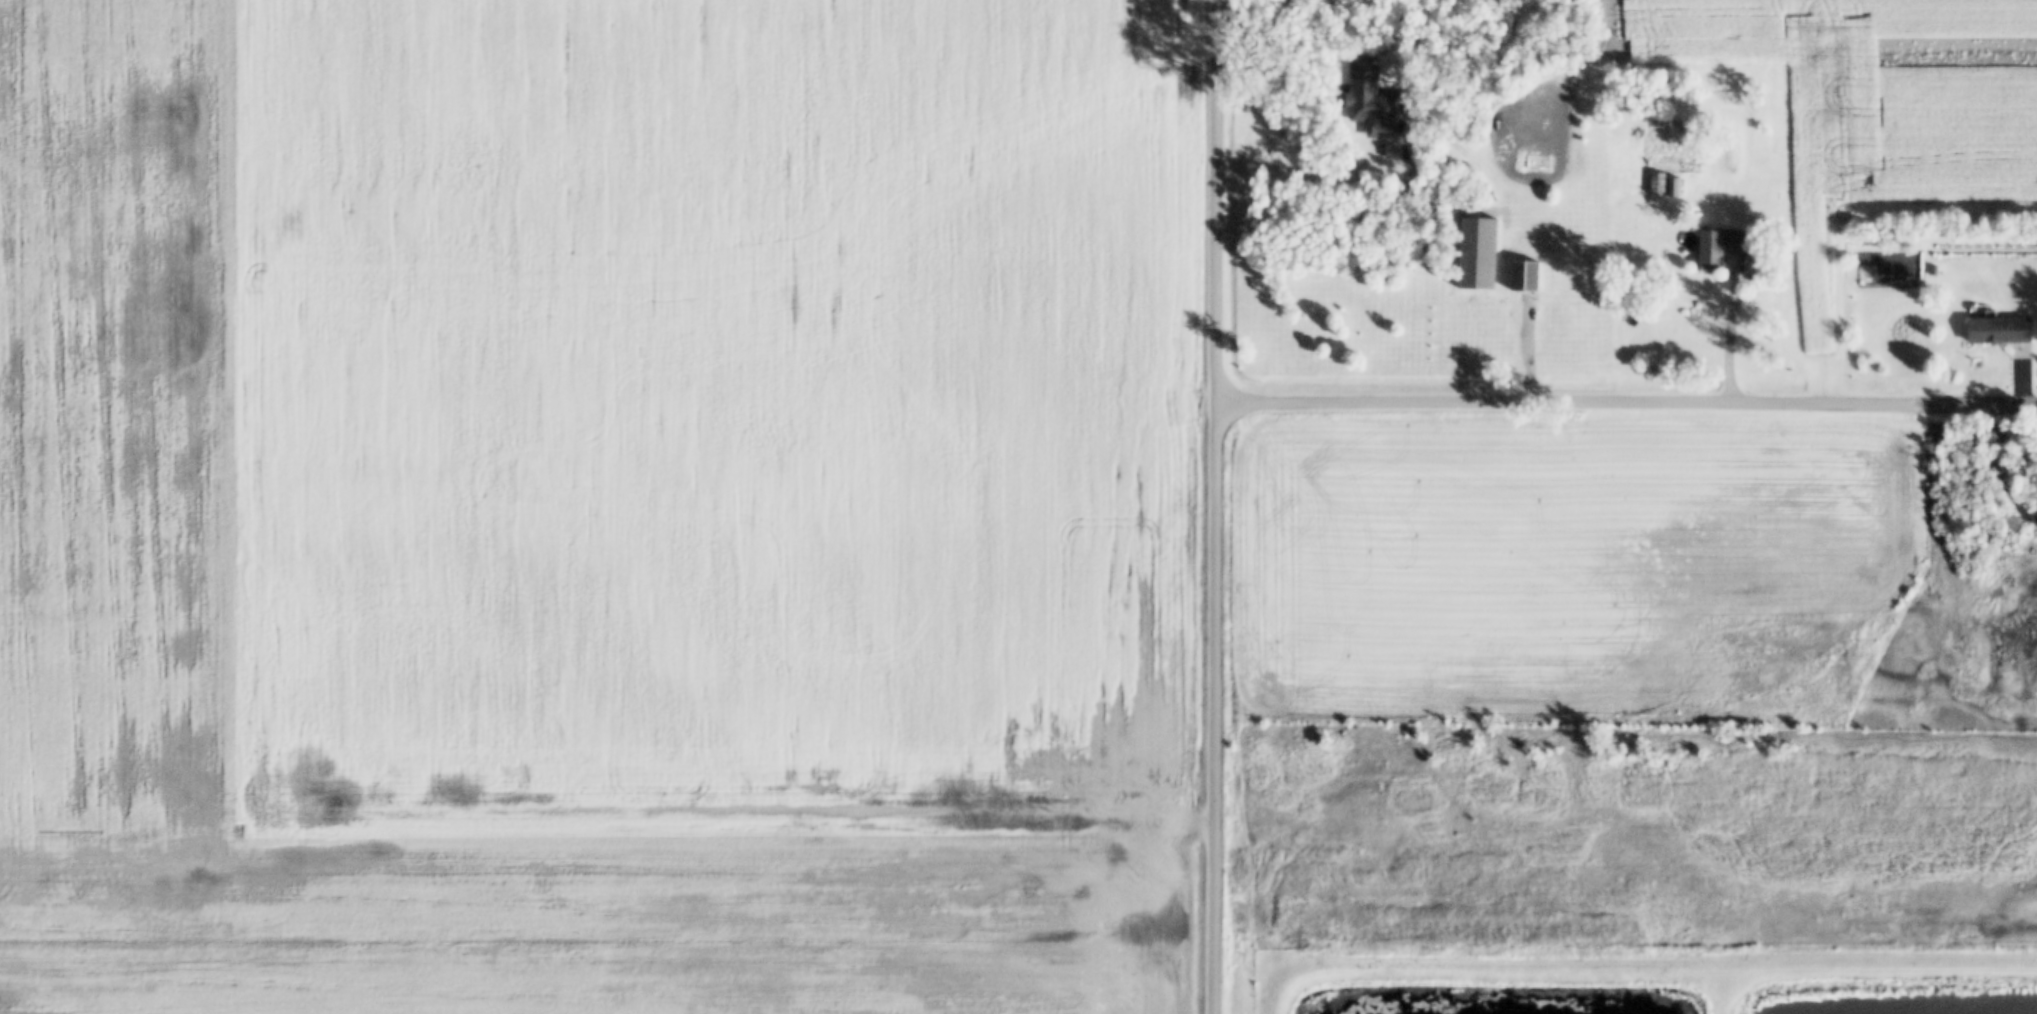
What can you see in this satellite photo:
building: (1676, 188)
building: (1720, 248)
building: (1478, 255)
building: (1933, 271)
building: (1526, 276)
building: (2001, 330)
road: (1728, 339)
road: (1563, 404)
road: (1975, 406)
road: (1220, 506)

